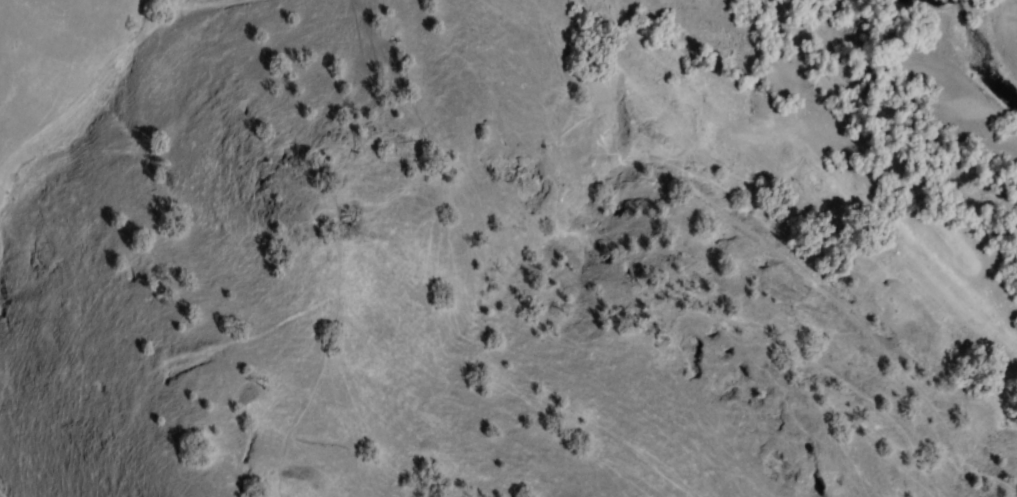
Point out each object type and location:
river: (983, 49)

